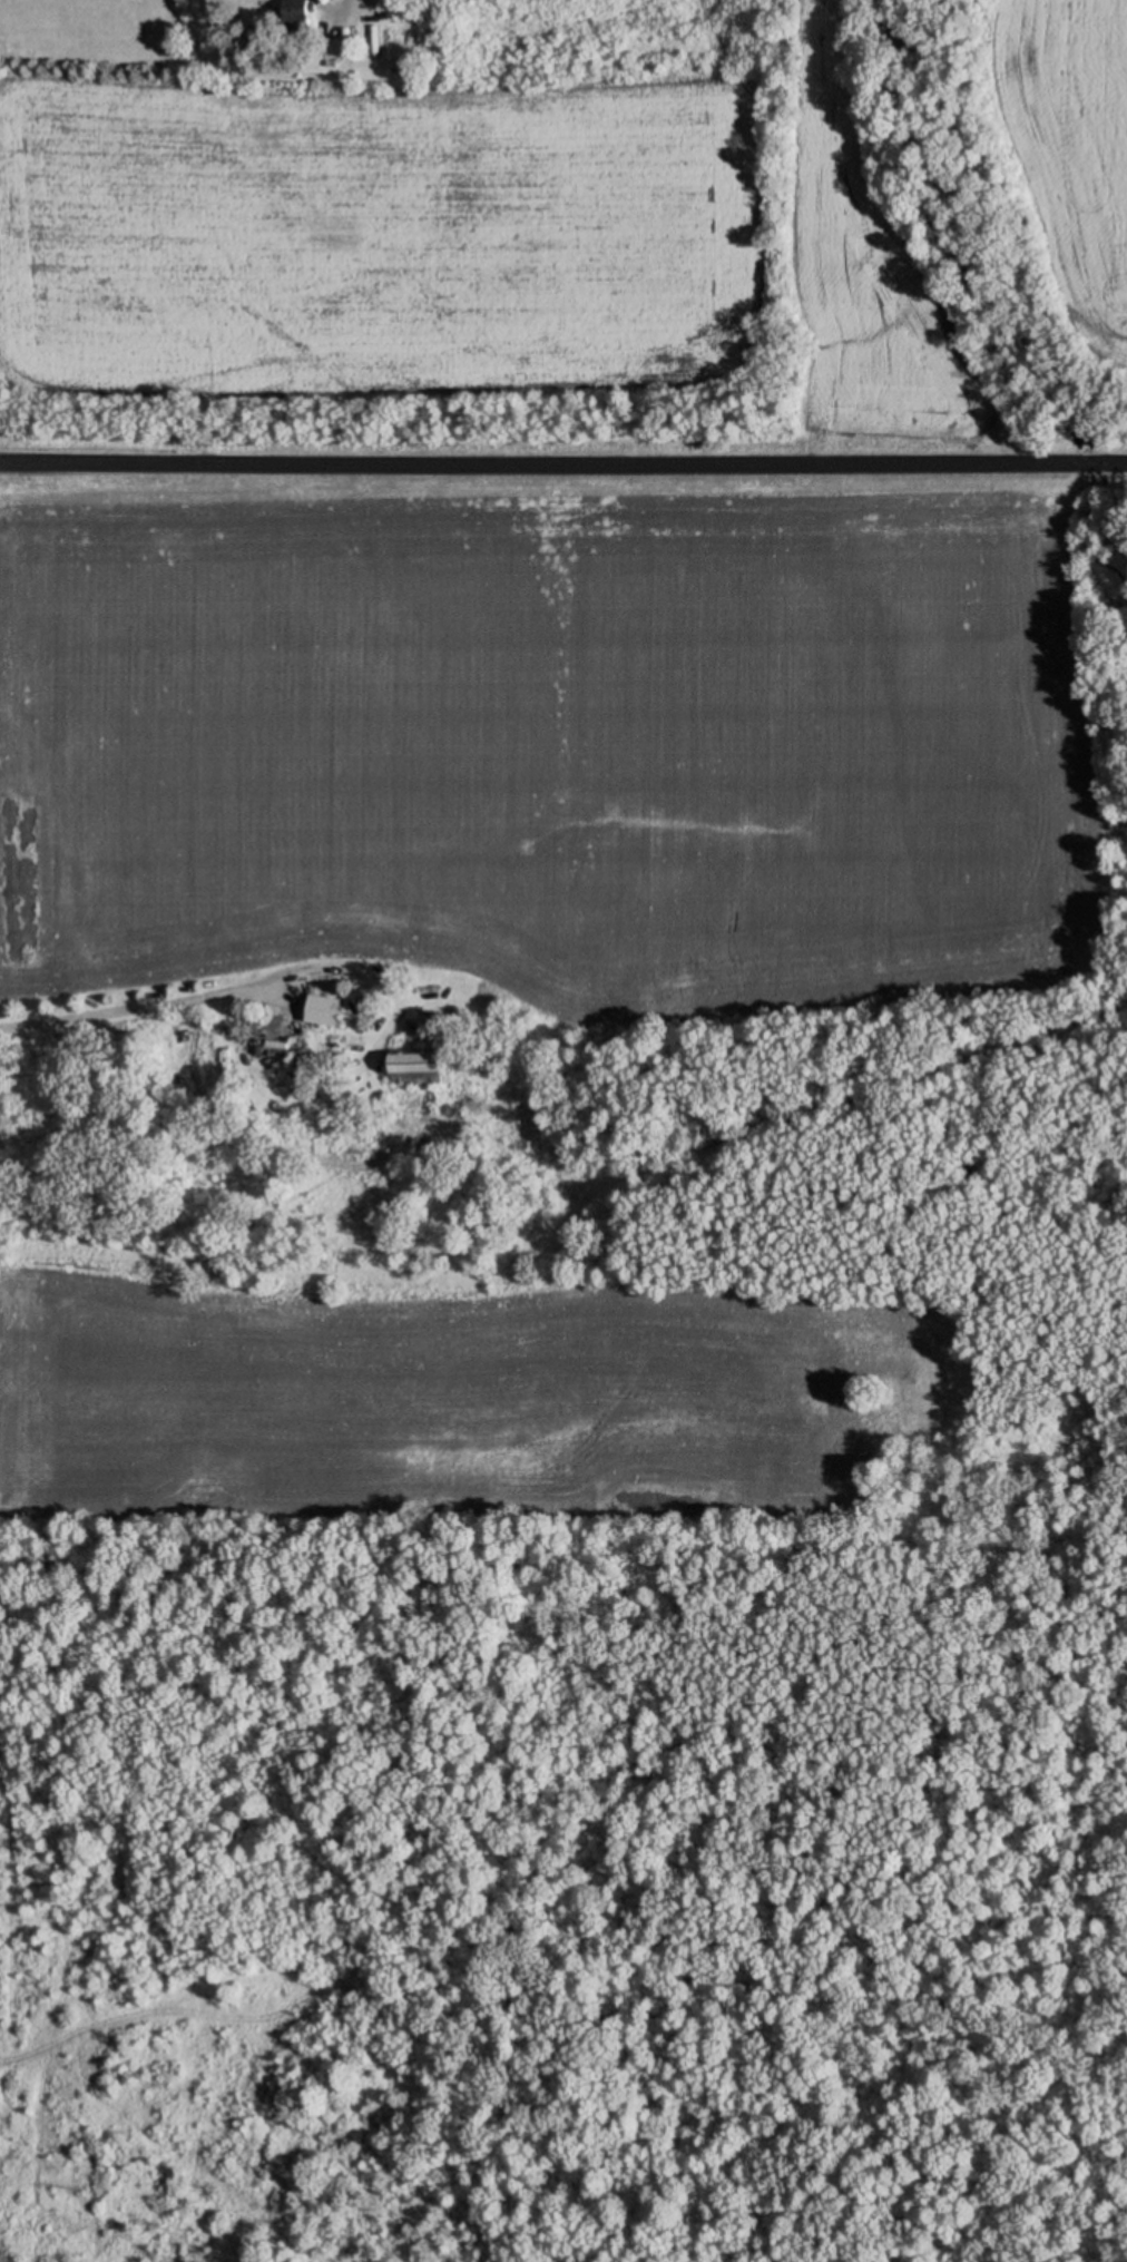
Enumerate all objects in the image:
road: (326, 10)
building: (291, 18)
building: (331, 49)
road: (563, 488)
building: (323, 1012)
building: (285, 1044)
building: (301, 1059)
building: (414, 1069)

